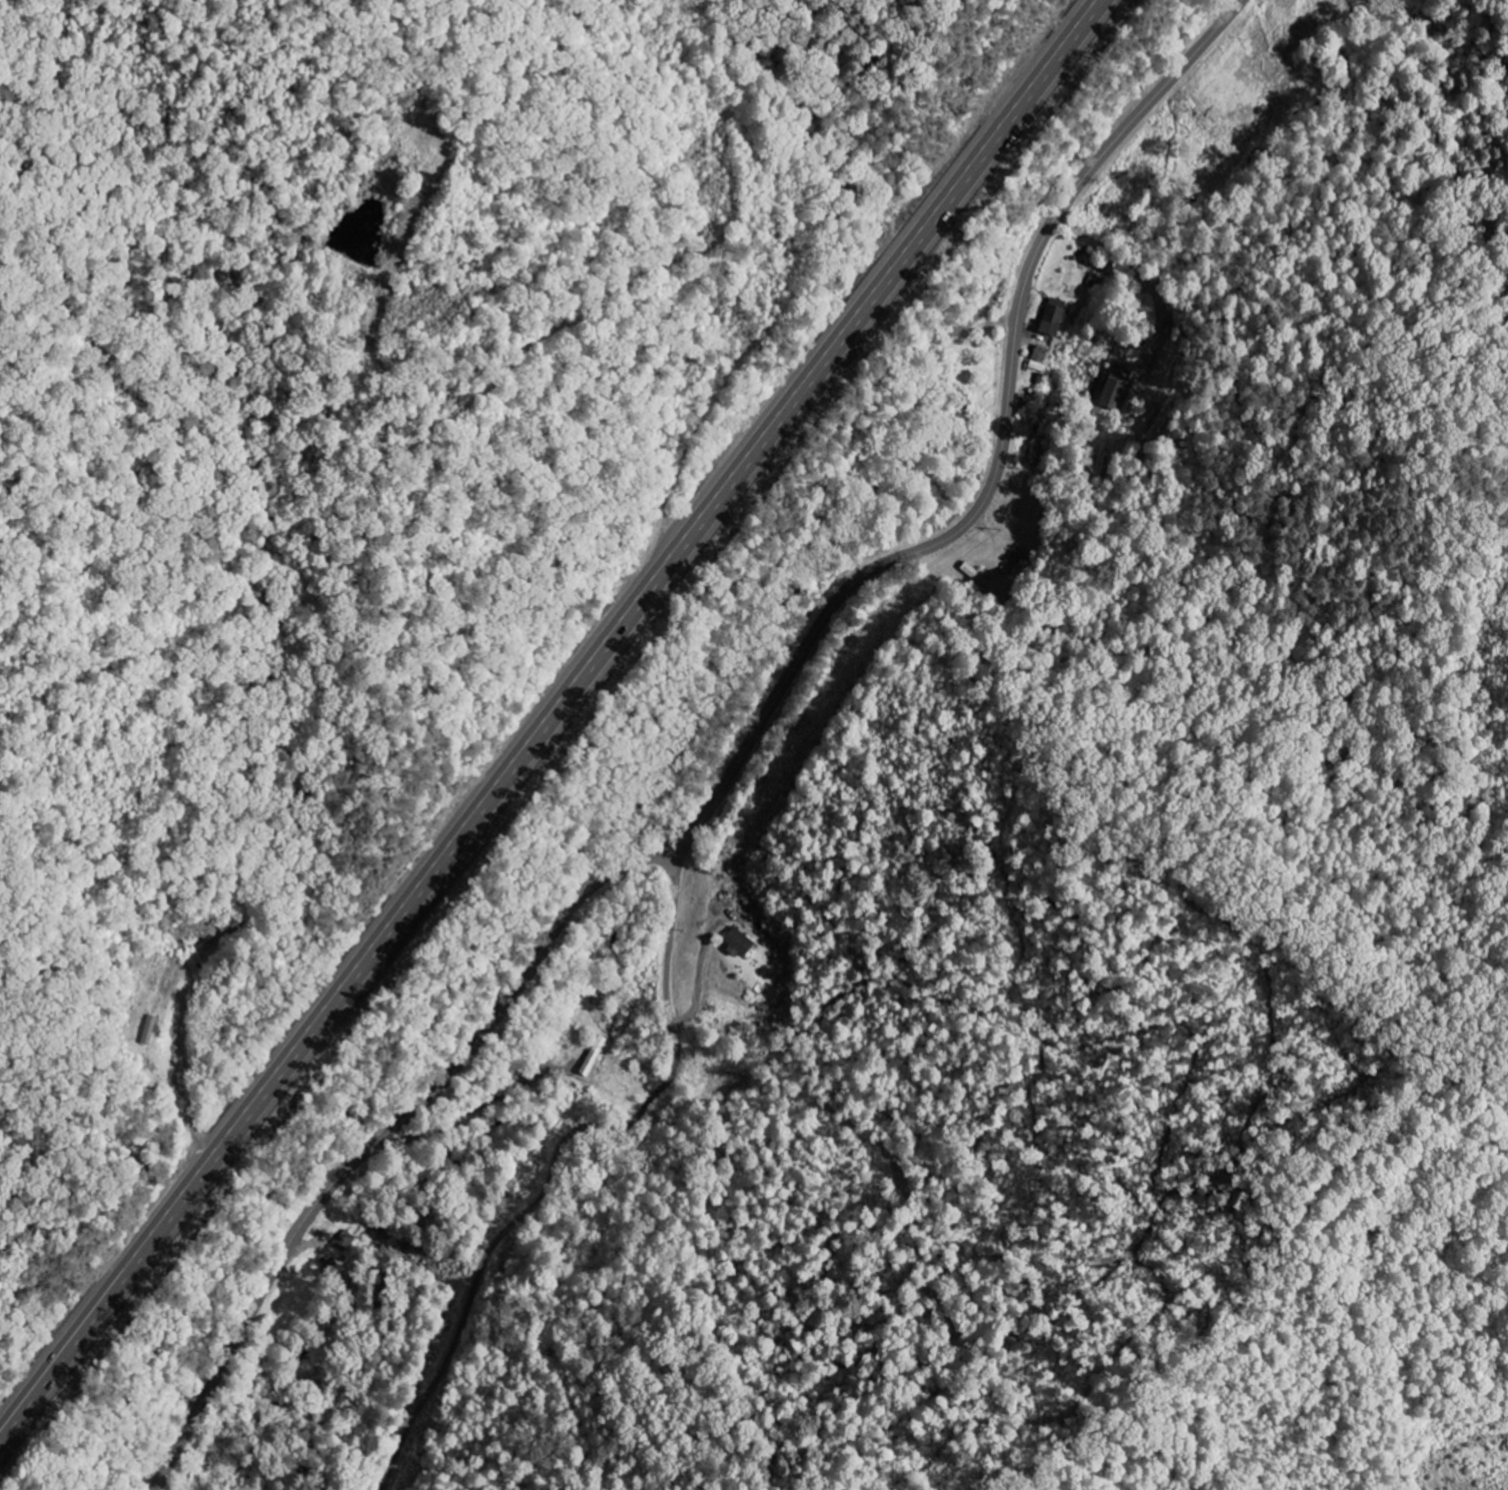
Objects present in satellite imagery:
building: (1050, 317)
building: (1035, 357)
building: (1113, 388)
road: (547, 714)
road: (741, 757)
building: (736, 943)
road: (550, 1187)
building: (343, 1241)
road: (226, 1257)

